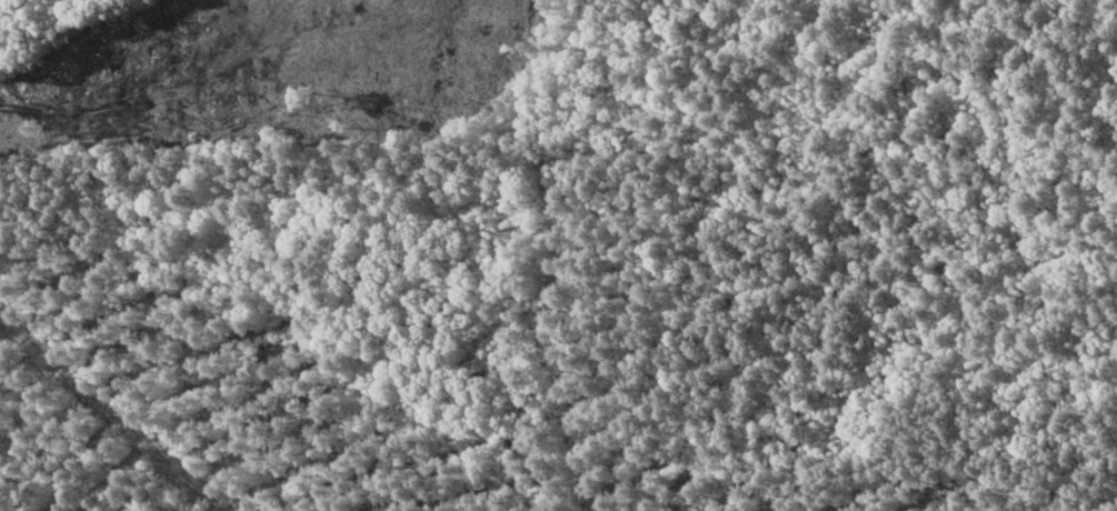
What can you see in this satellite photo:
crop: (120, 508)

